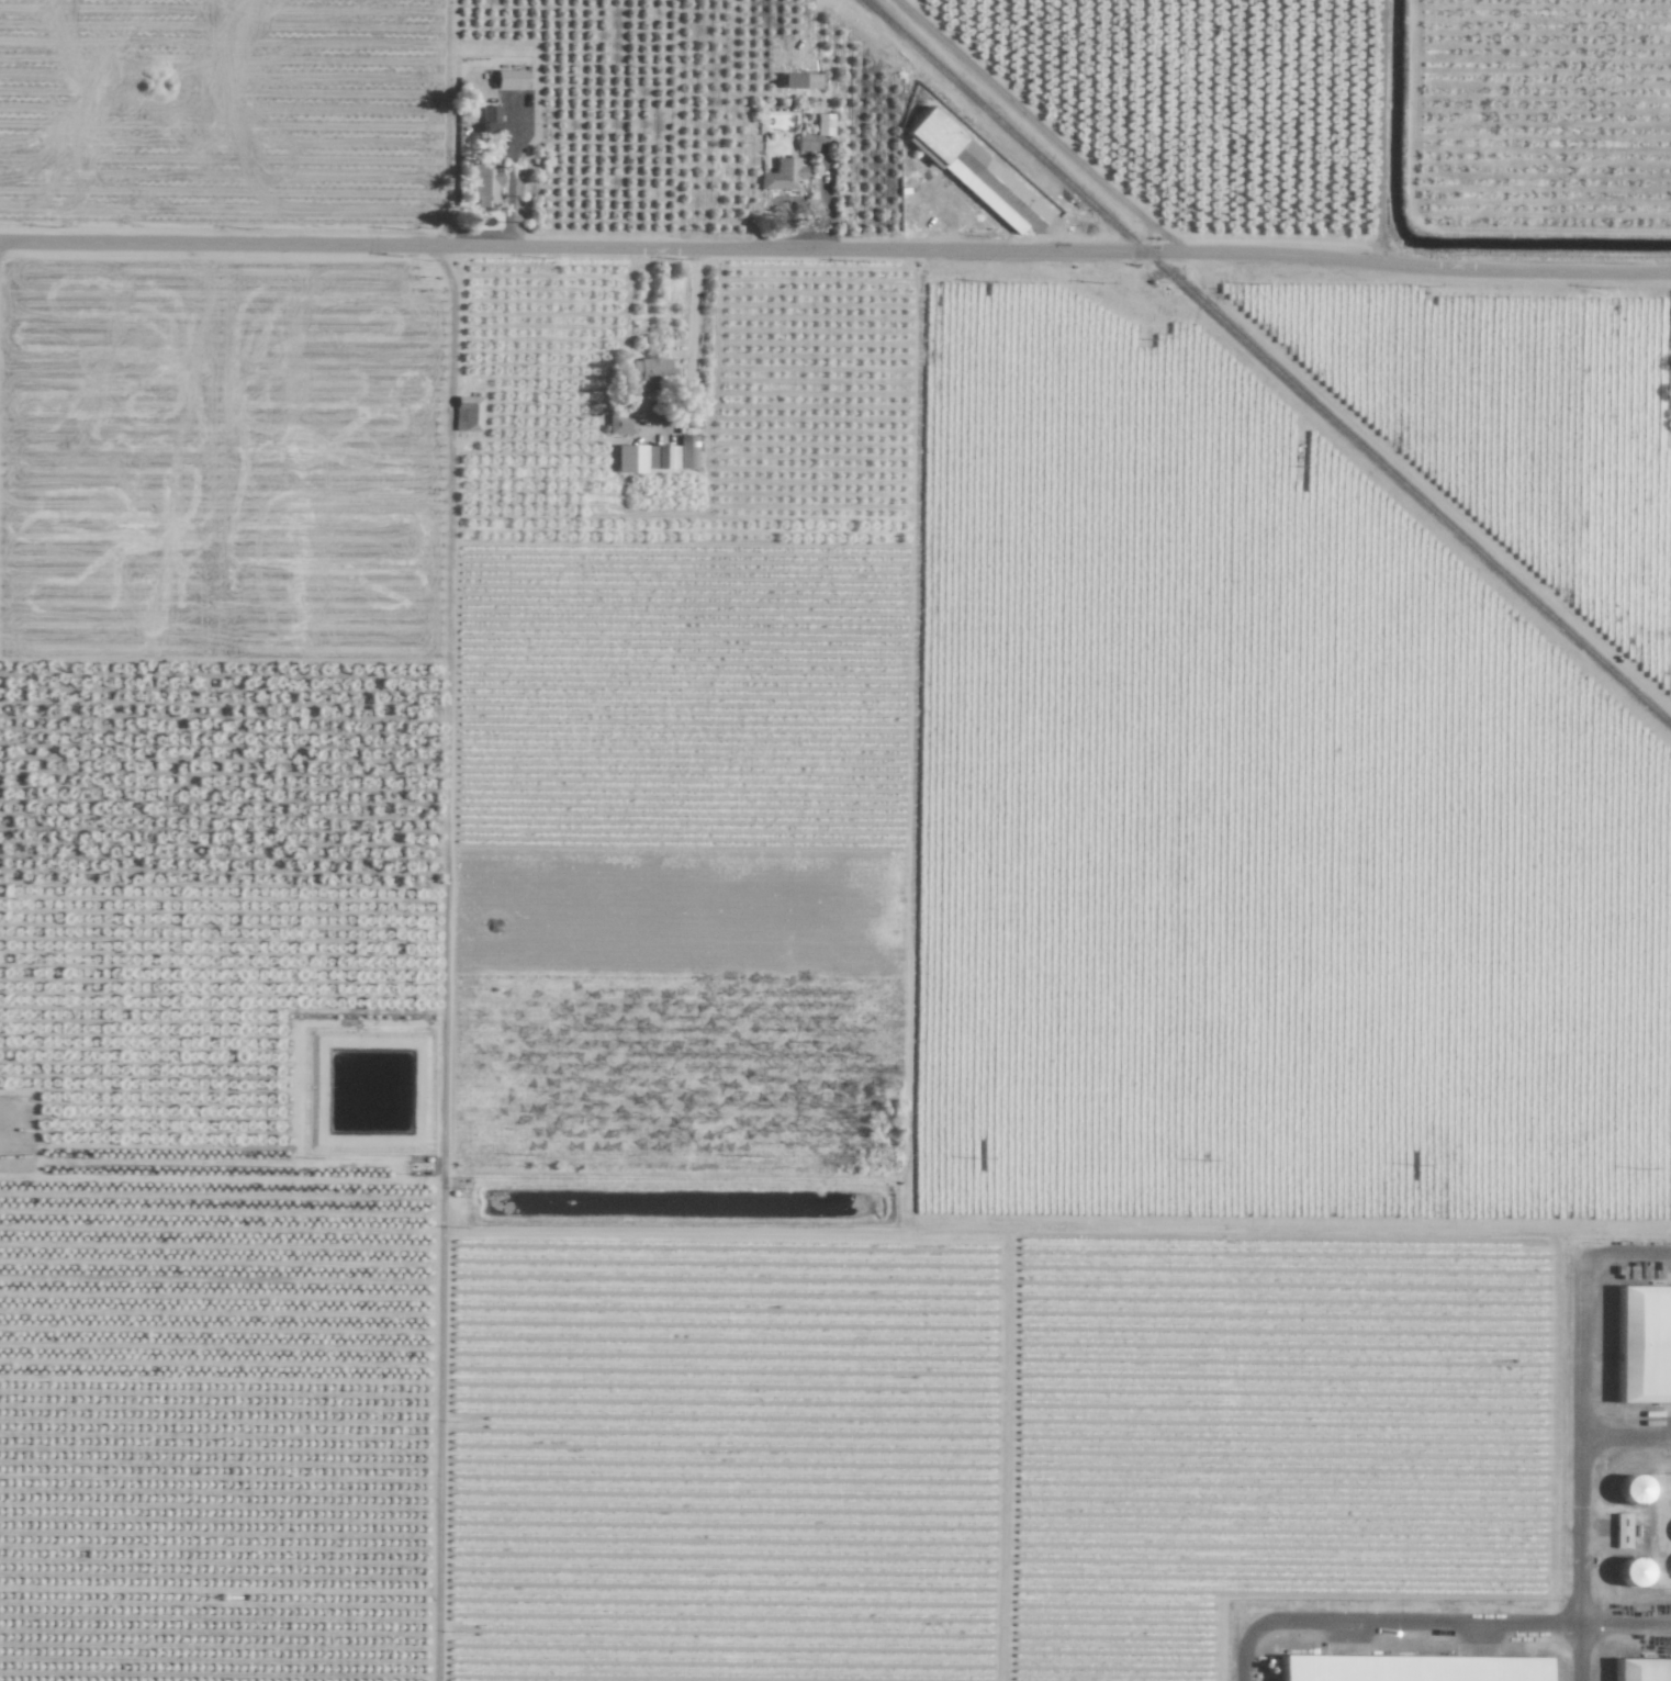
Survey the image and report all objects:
building: (507, 79)
building: (487, 119)
building: (821, 125)
building: (804, 143)
building: (781, 175)
building: (976, 176)
building: (482, 184)
road: (835, 247)
road: (691, 347)
railway: (1266, 362)
building: (648, 374)
building: (468, 413)
building: (692, 419)
building: (619, 424)
building: (655, 456)
building: (1642, 1345)
road: (1624, 1438)
building: (1629, 1490)
building: (1619, 1531)
building: (1628, 1572)
road: (1575, 1587)
road: (1623, 1623)
road: (1584, 1650)
building: (1406, 1669)
building: (1640, 1669)

